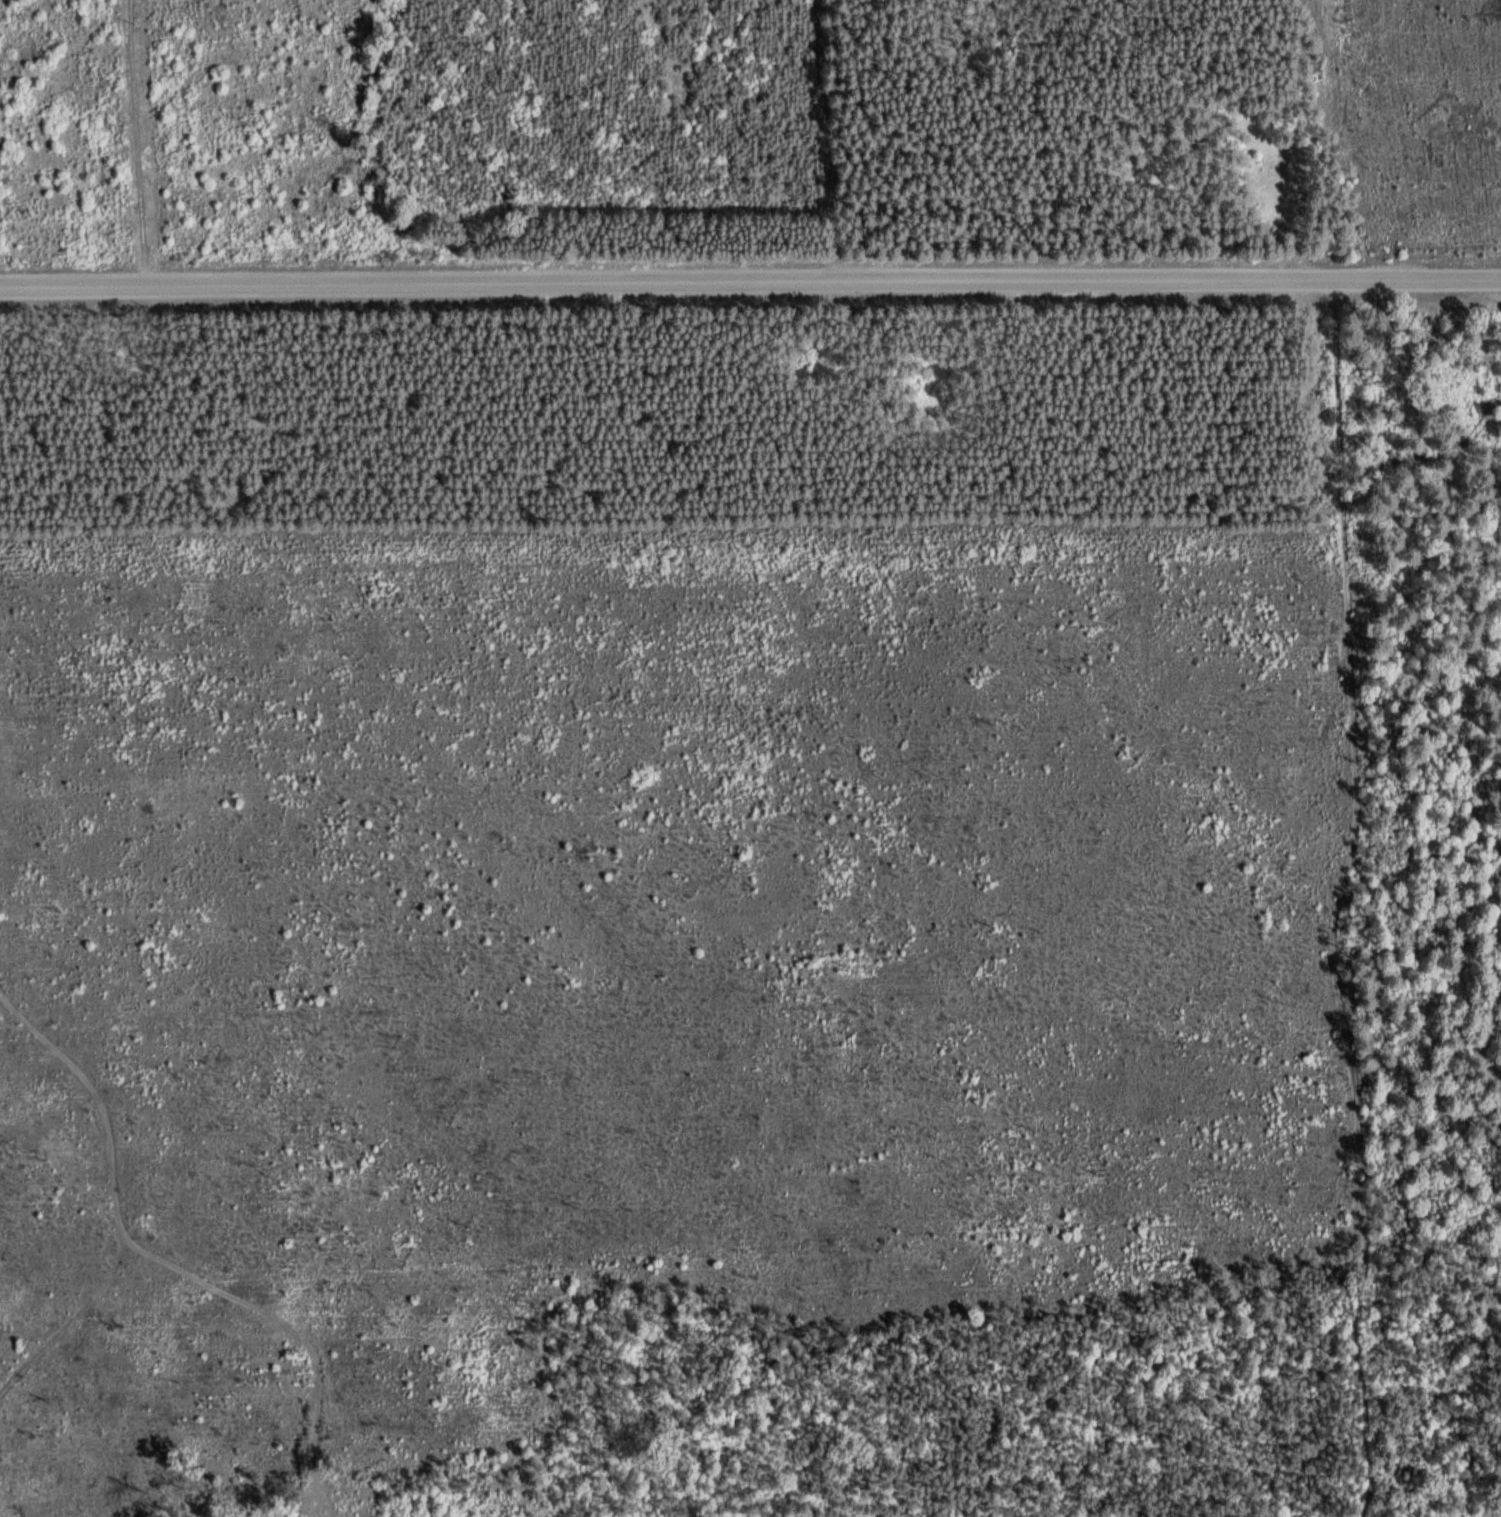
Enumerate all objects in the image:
road: (824, 140)
road: (750, 278)
road: (1341, 898)

